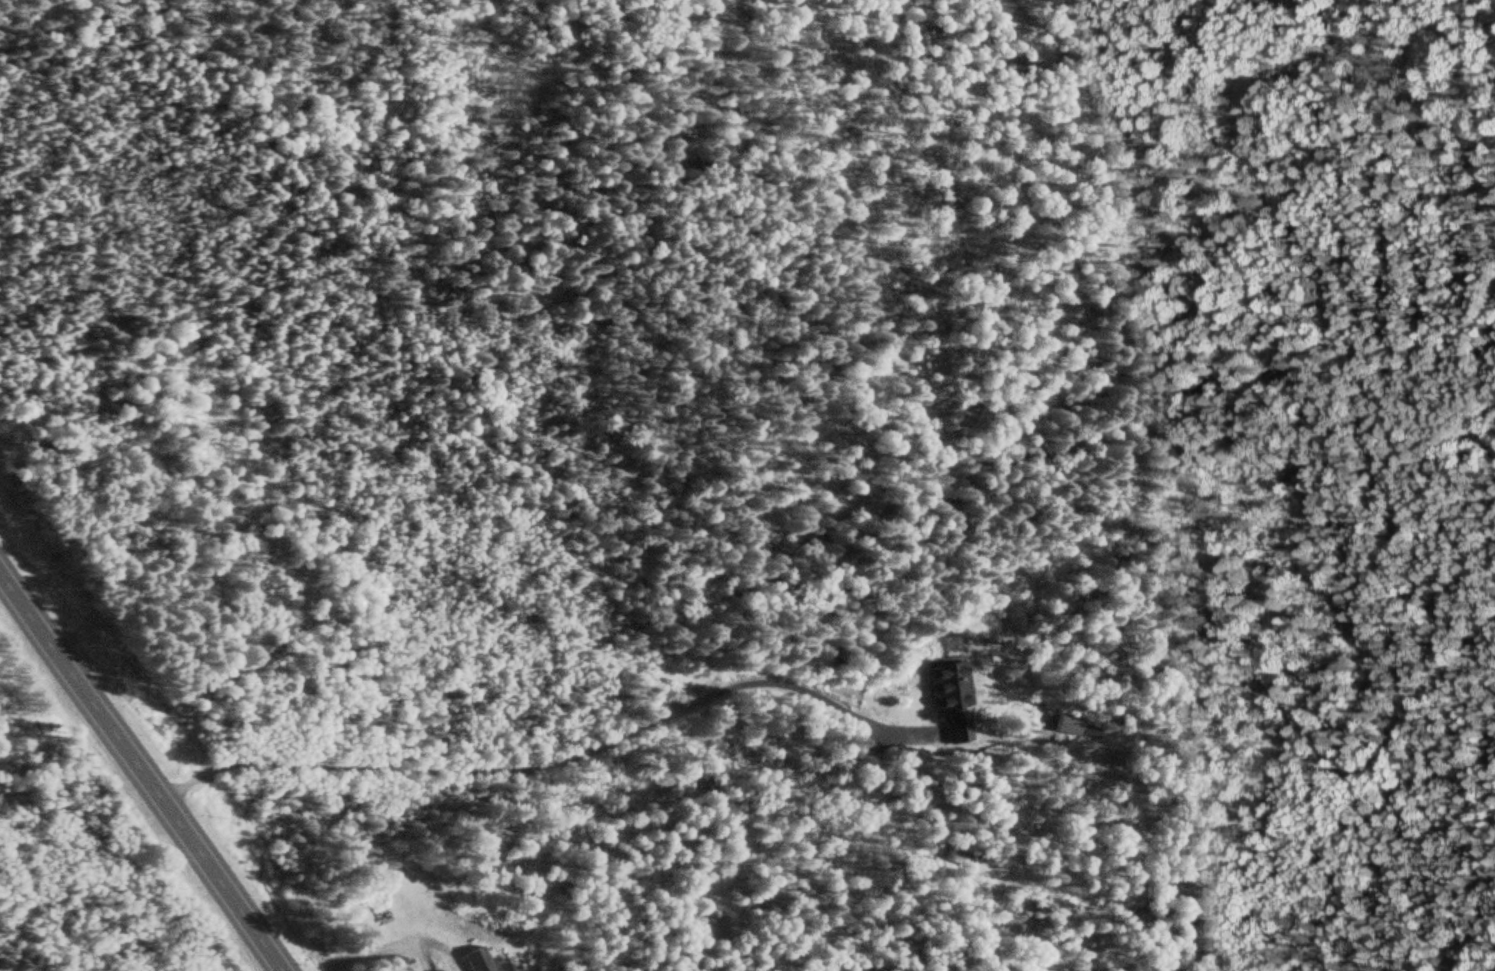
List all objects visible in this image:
building: (950, 700)
building: (1066, 725)
road: (141, 770)
building: (376, 918)
building: (477, 961)

